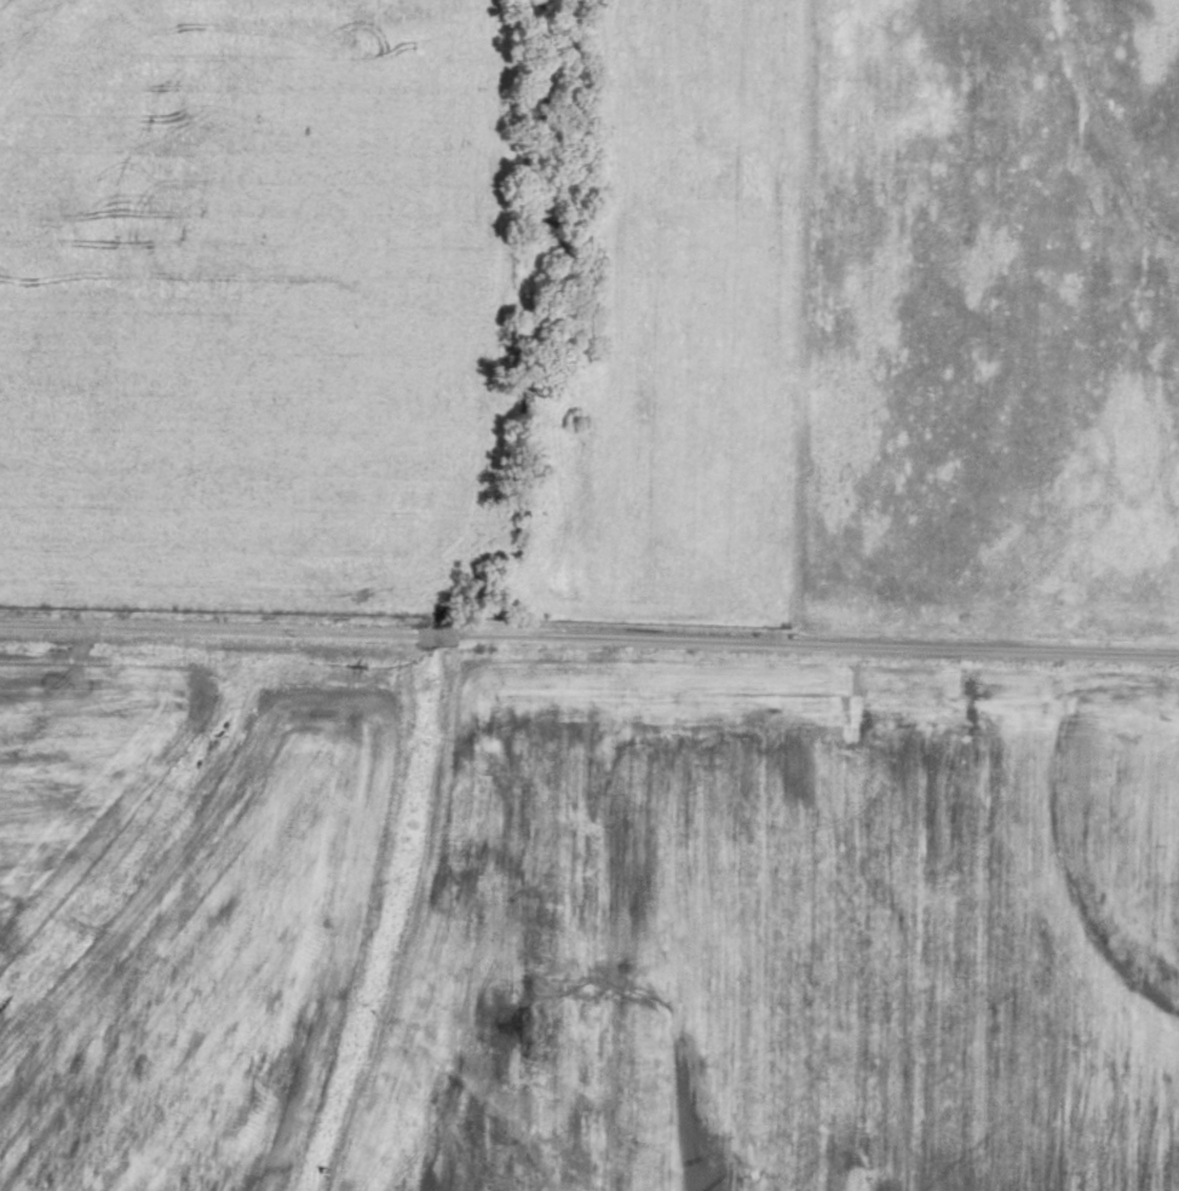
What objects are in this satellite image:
road: (589, 634)

